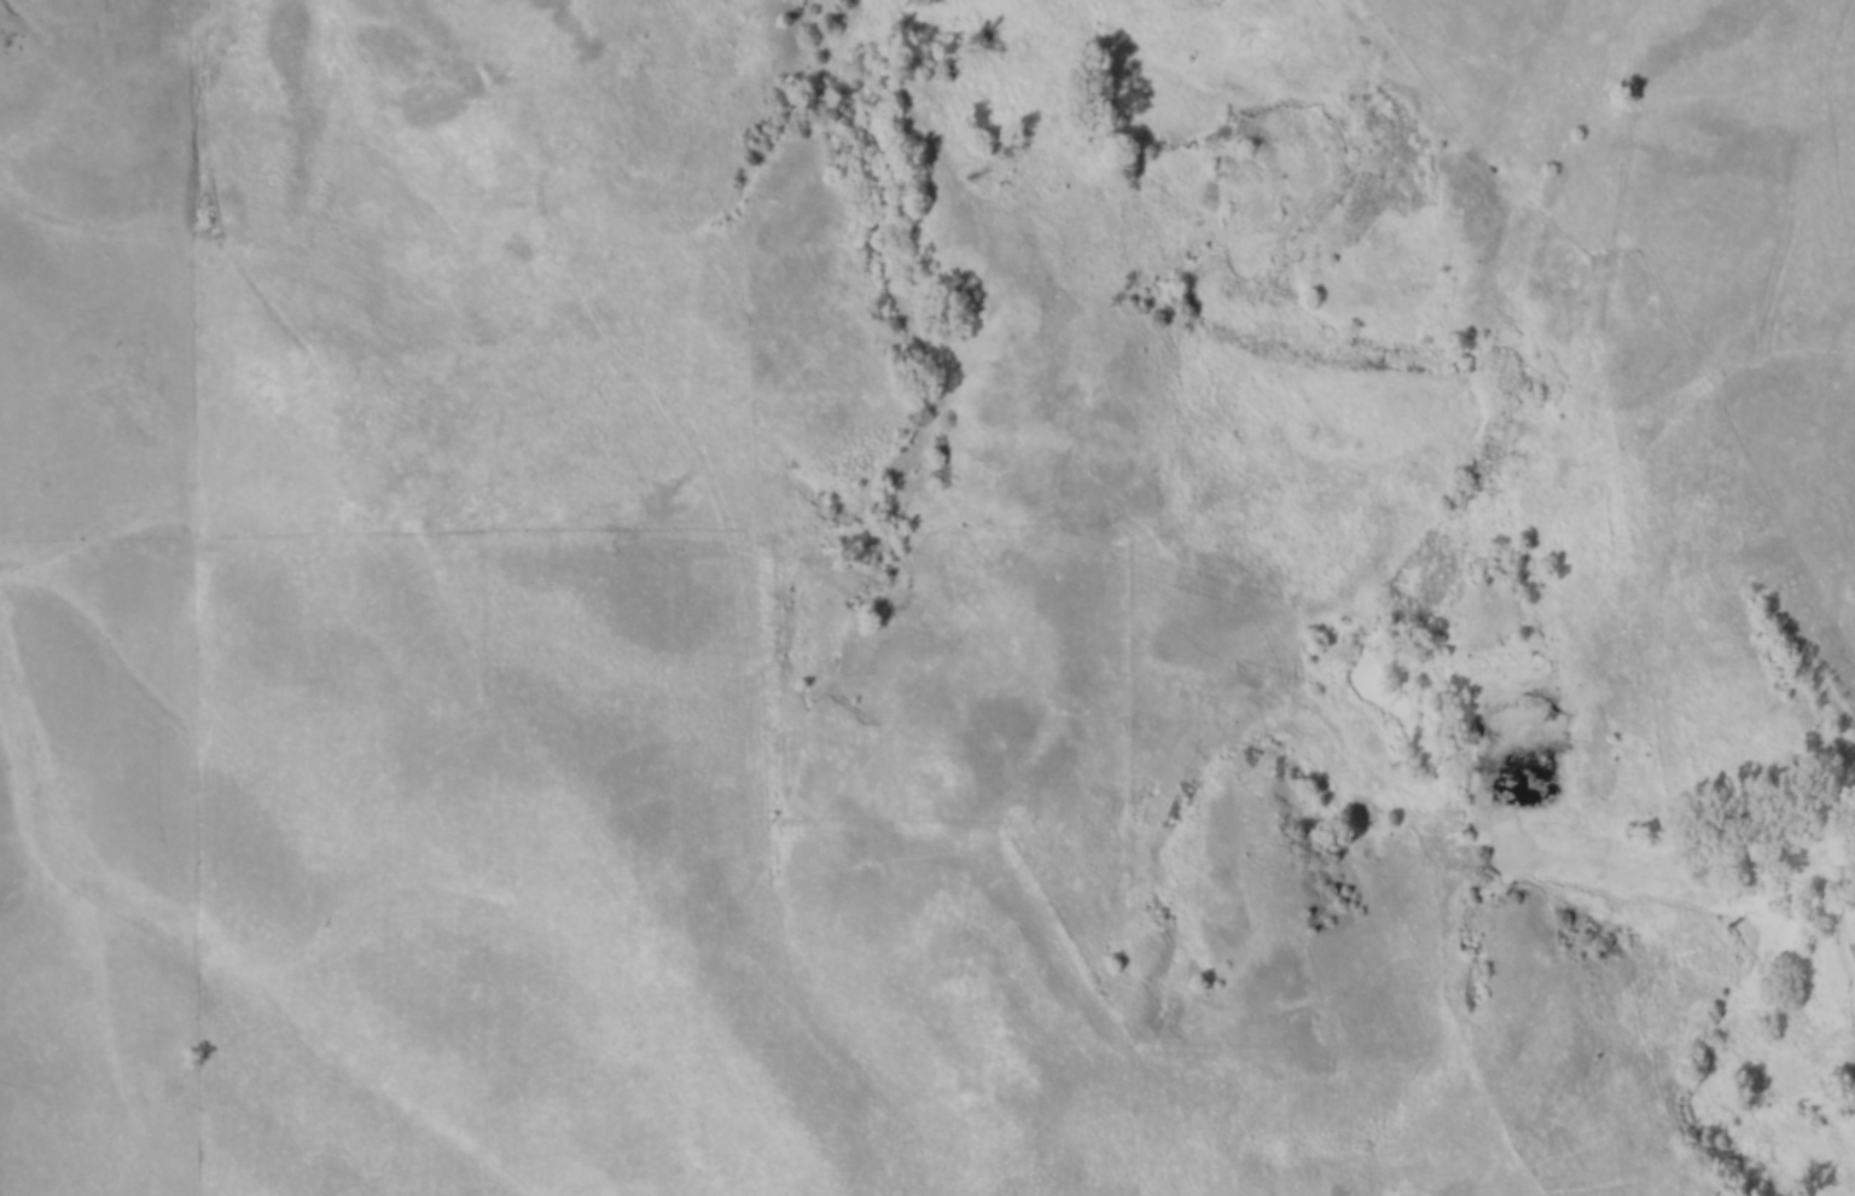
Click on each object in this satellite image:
building: (1853, 942)

